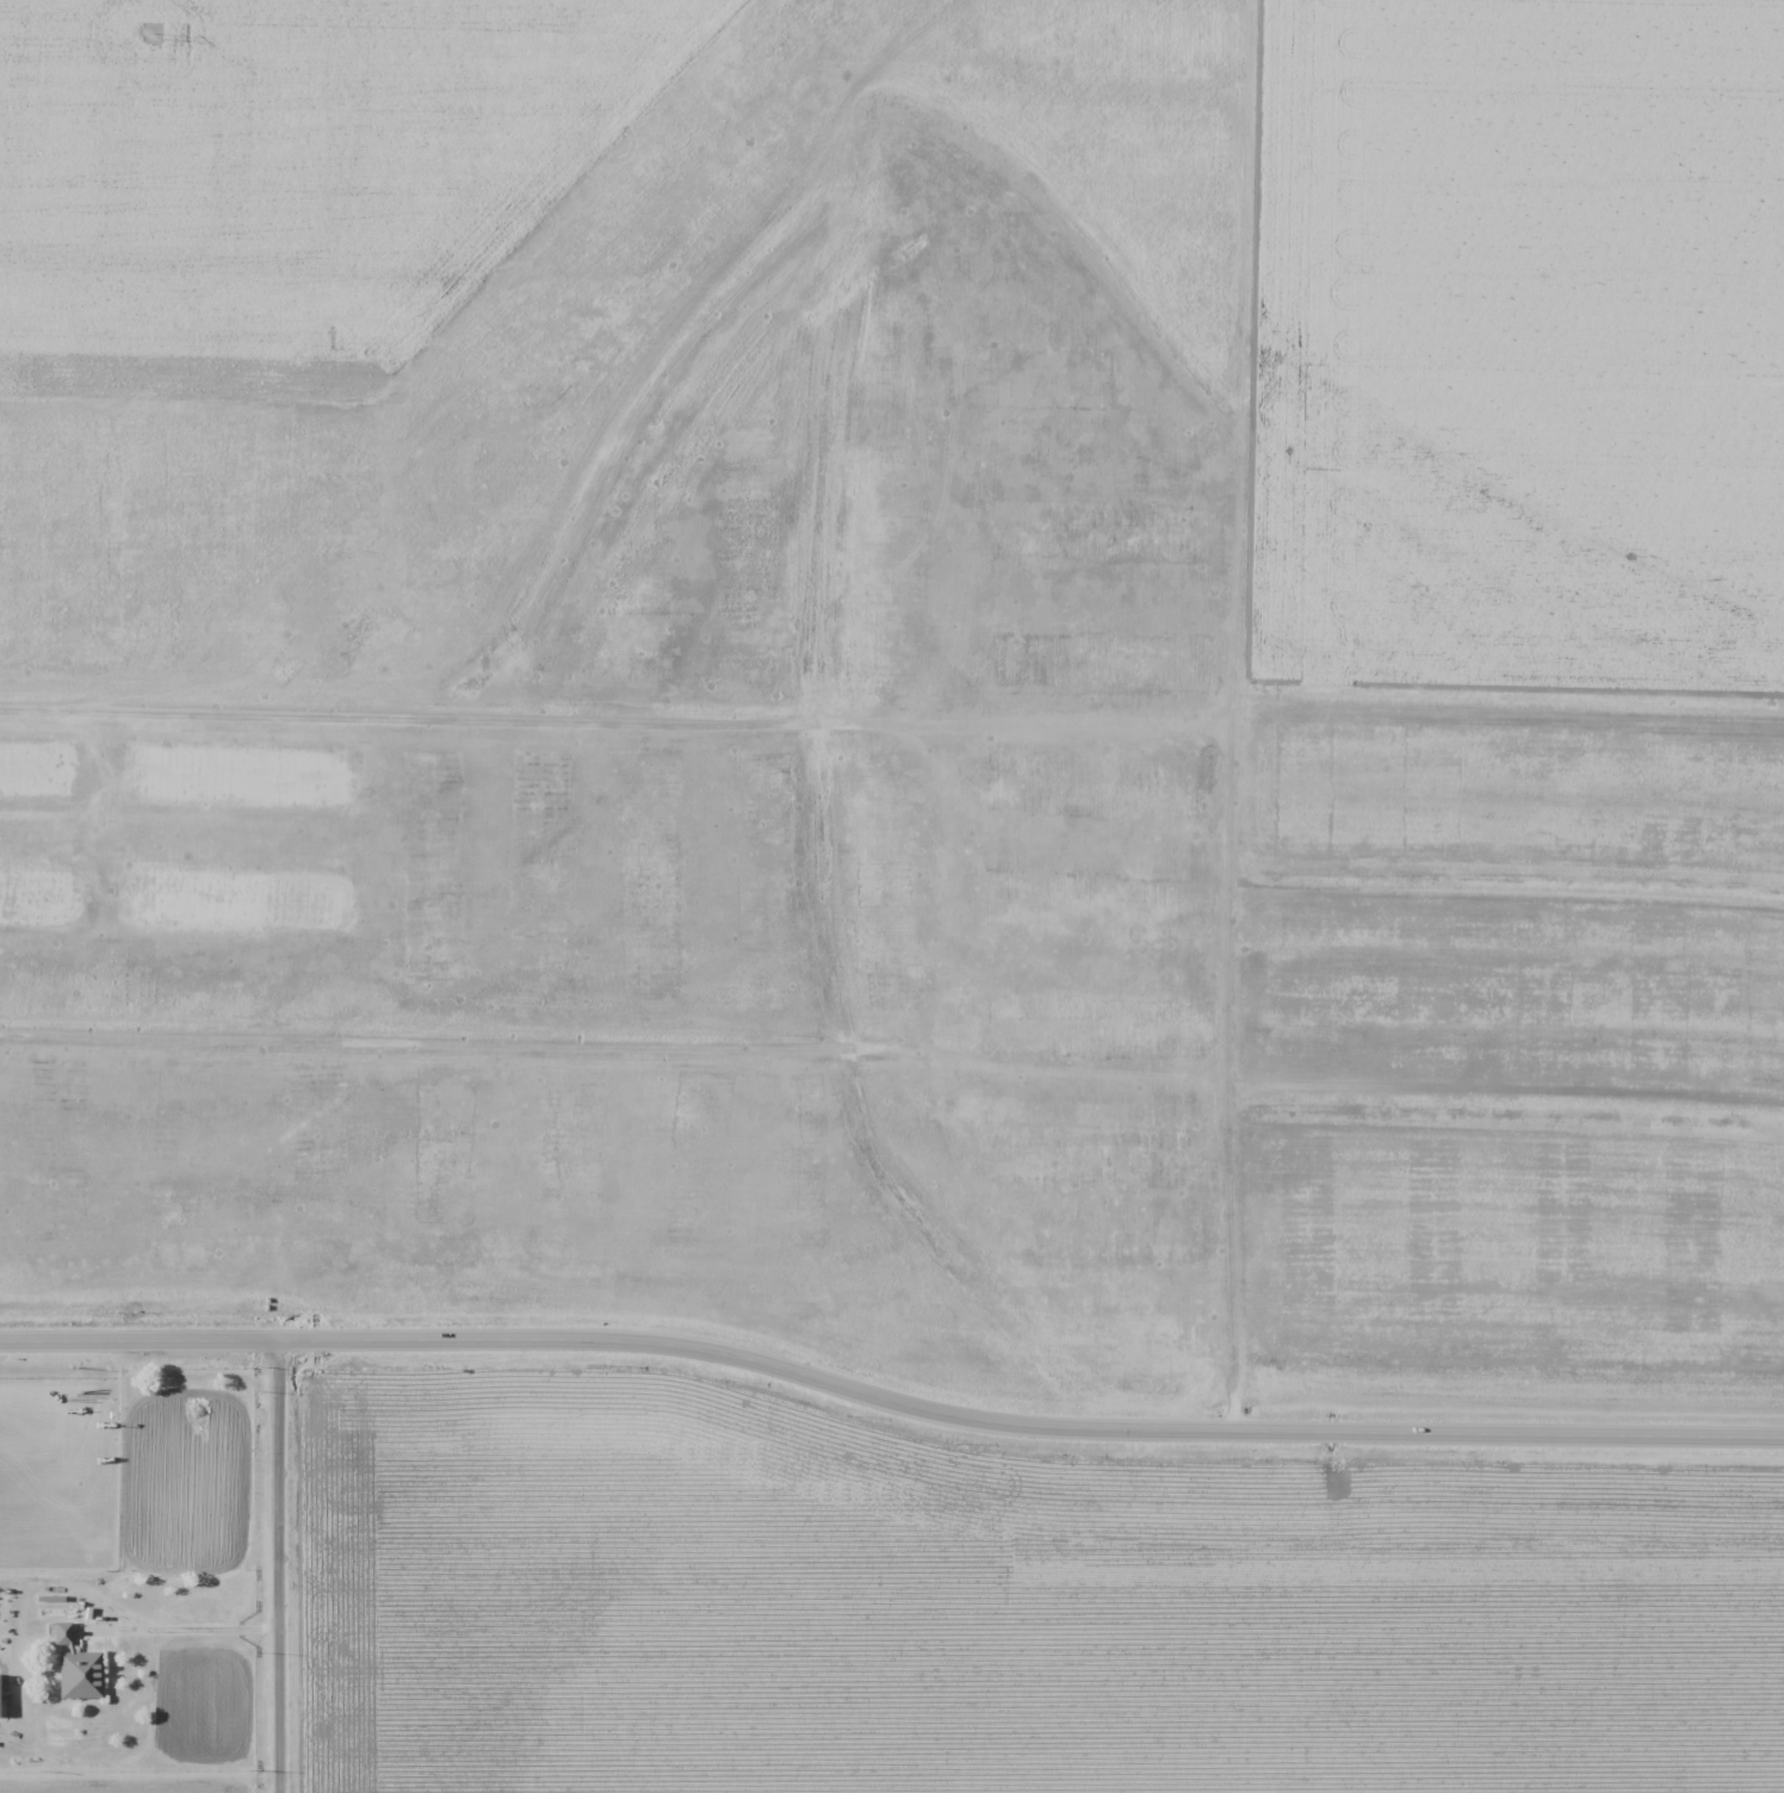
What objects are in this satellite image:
power tower: (149, 37)
road: (888, 1397)
road: (280, 1565)
building: (81, 1675)
building: (1, 1695)

